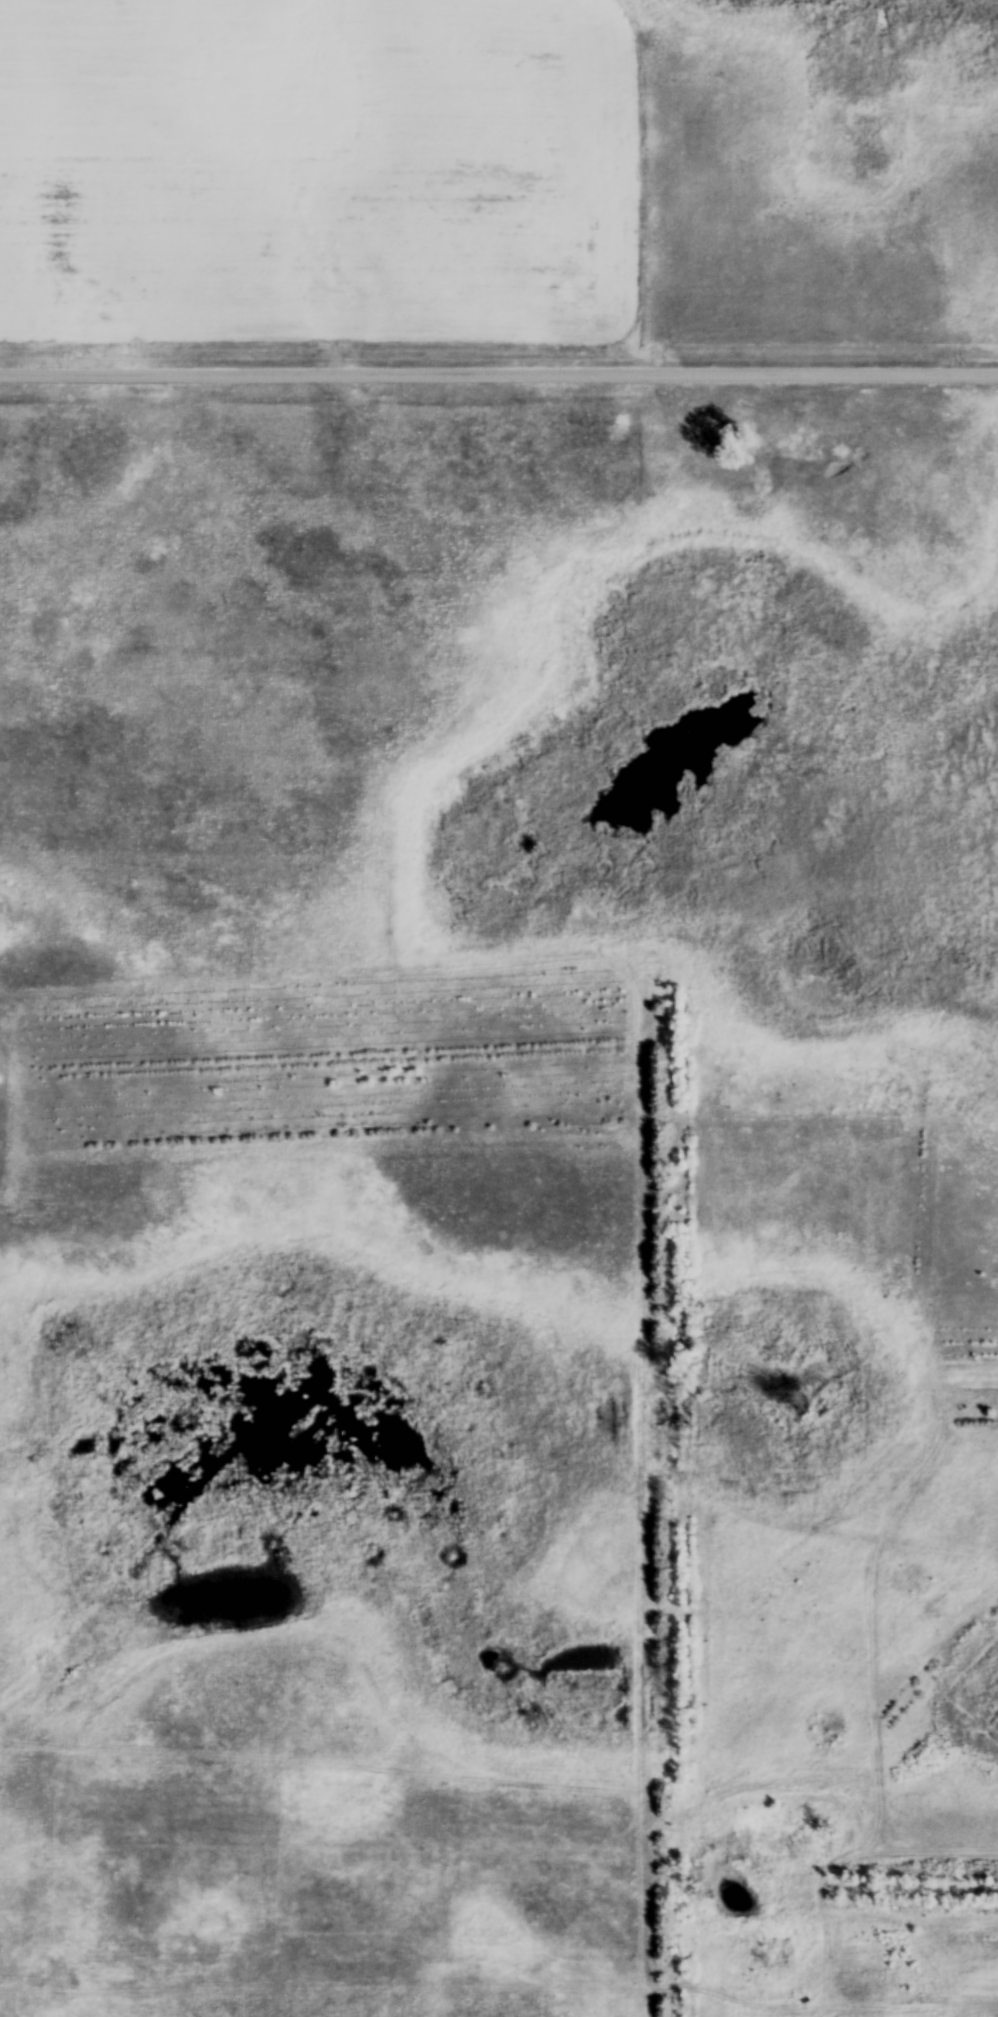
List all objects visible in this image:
road: (498, 371)

